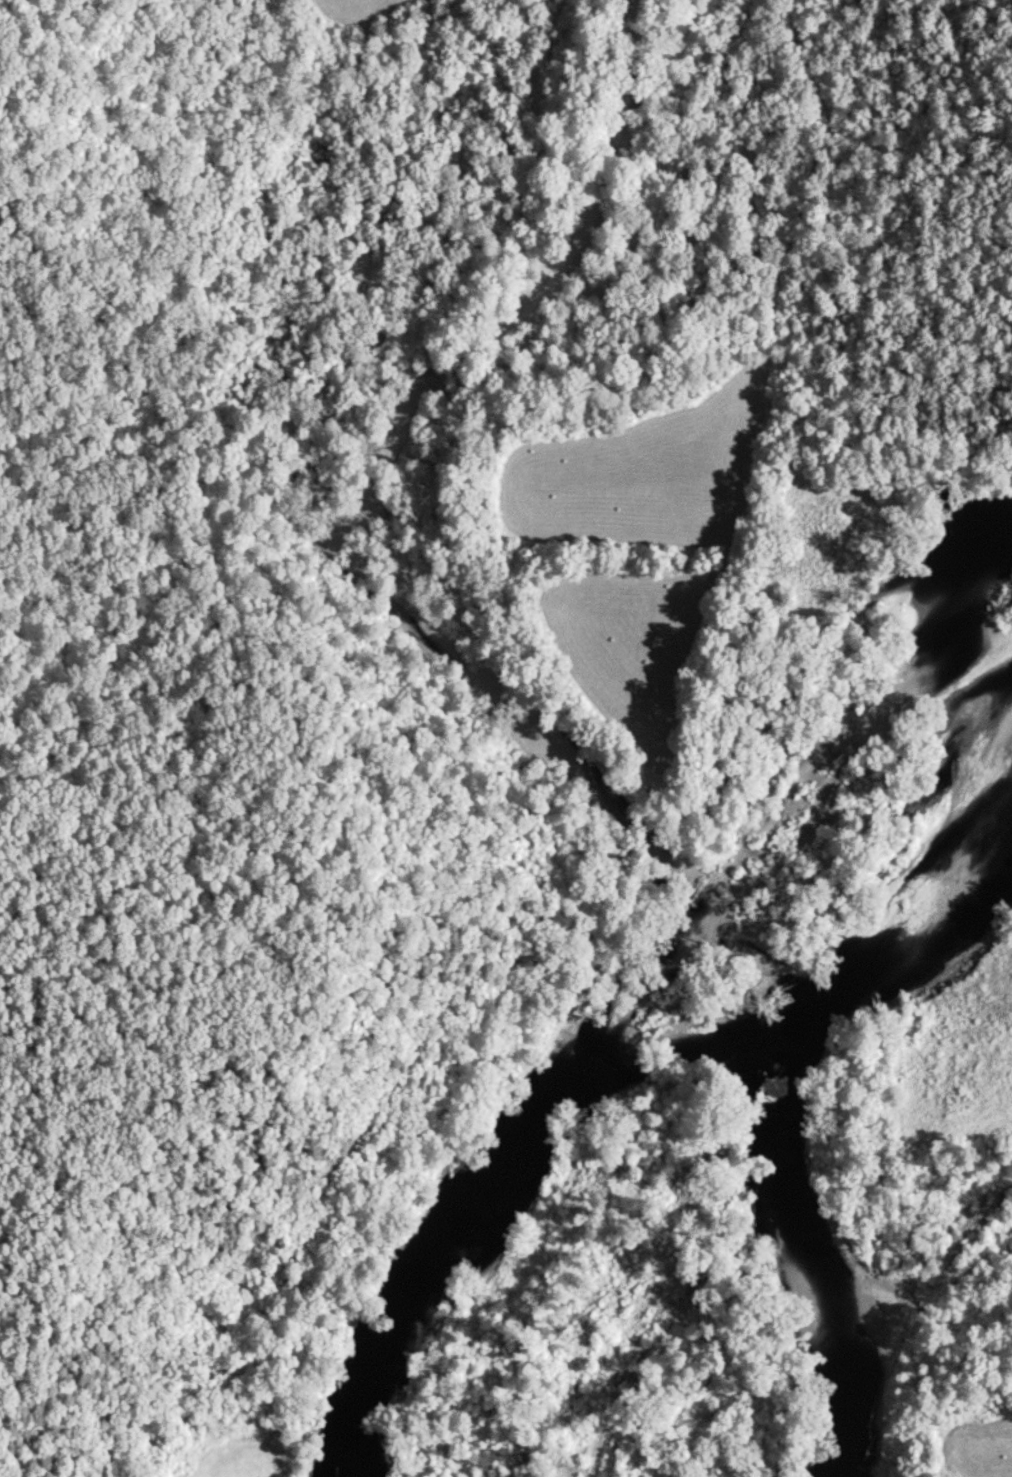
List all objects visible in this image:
river: (681, 1048)

